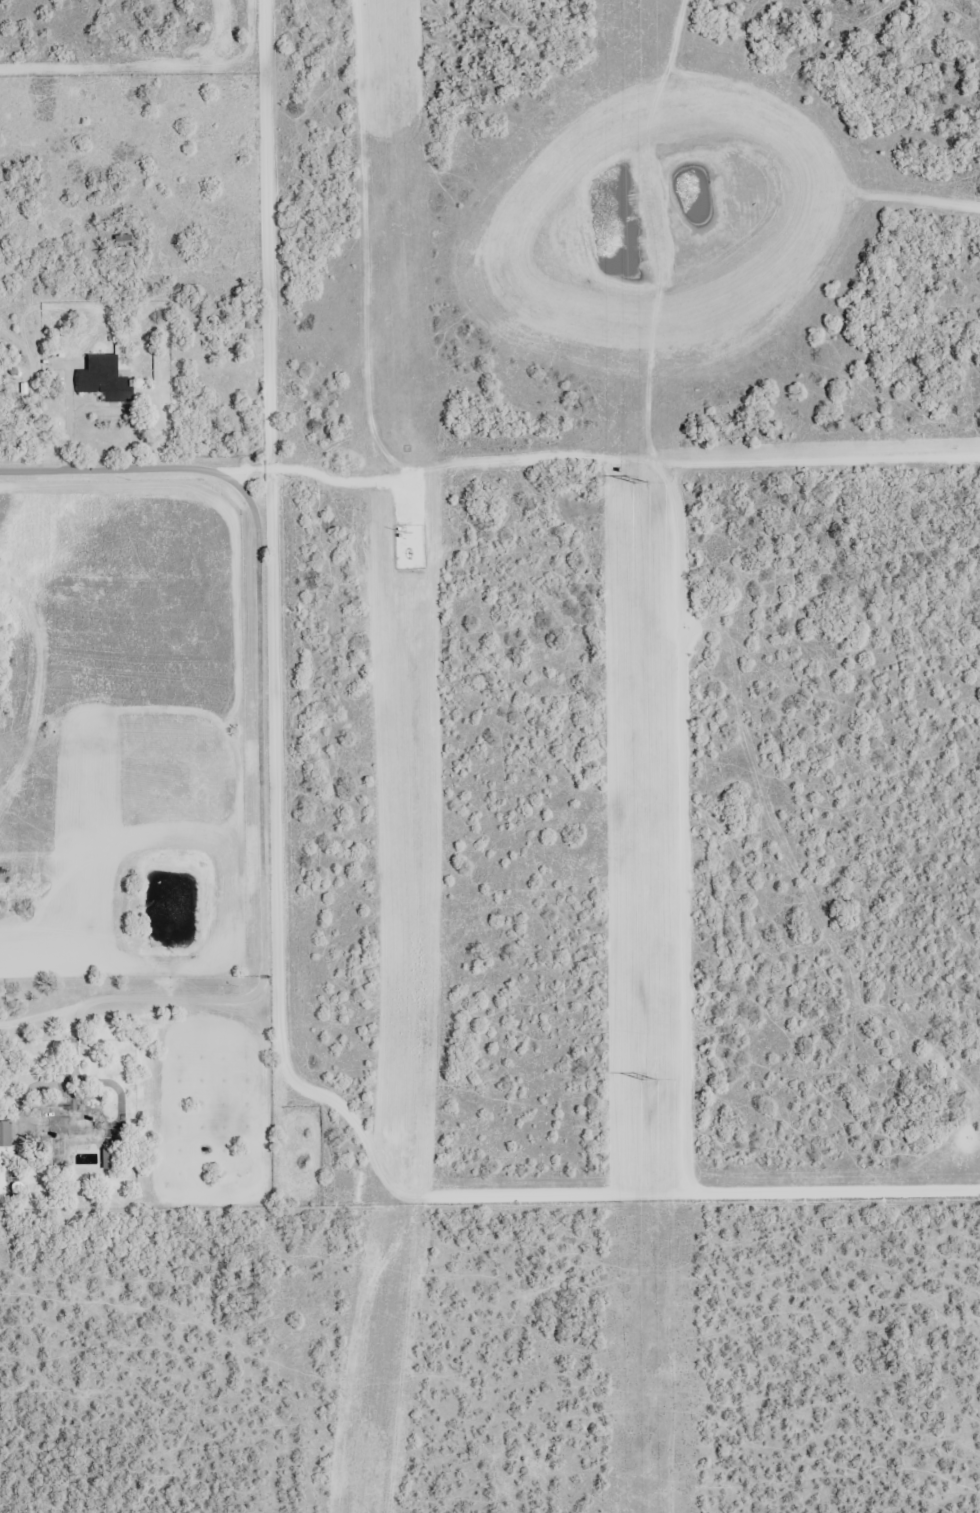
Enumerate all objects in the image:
road: (133, 468)
road: (281, 474)
power tower: (642, 481)
road: (619, 624)
road: (270, 698)
power tower: (651, 1079)
building: (73, 1124)
building: (6, 1133)

